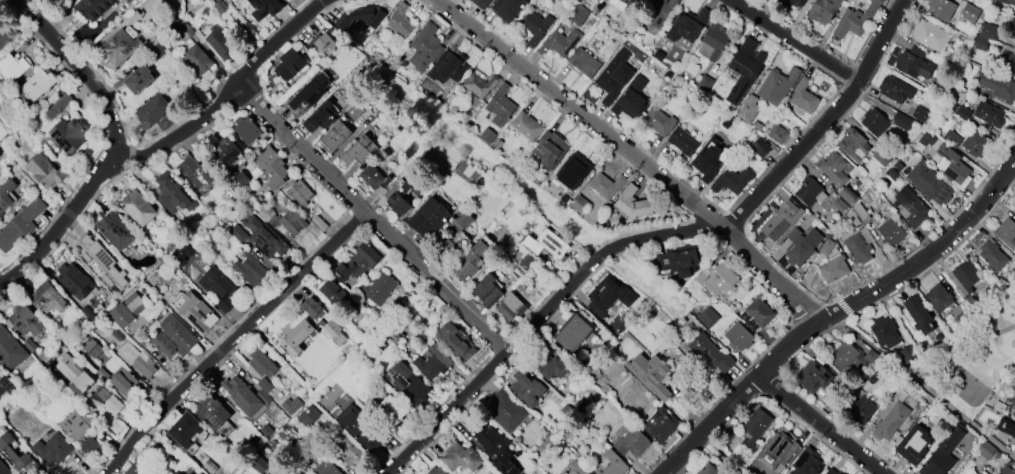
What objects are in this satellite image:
building: (992, 0)
building: (629, 1)
building: (1008, 1)
road: (4, 3)
building: (480, 3)
building: (784, 4)
building: (93, 8)
building: (265, 8)
building: (507, 9)
building: (941, 9)
building: (822, 10)
building: (1014, 11)
building: (656, 12)
building: (970, 13)
building: (356, 18)
building: (856, 19)
building: (400, 21)
building: (688, 24)
building: (1012, 25)
building: (536, 26)
building: (6, 33)
building: (985, 34)
building: (930, 35)
building: (1013, 37)
building: (713, 40)
building: (218, 41)
building: (323, 42)
building: (559, 42)
road: (795, 44)
building: (119, 47)
building: (425, 47)
building: (197, 59)
building: (584, 62)
building: (1006, 62)
building: (913, 63)
building: (289, 64)
building: (13, 66)
building: (447, 67)
building: (745, 69)
road: (85, 72)
building: (614, 76)
building: (142, 80)
building: (41, 84)
building: (479, 85)
building: (777, 85)
building: (997, 86)
building: (896, 89)
building: (310, 93)
road: (227, 96)
building: (804, 96)
building: (631, 99)
building: (500, 105)
building: (58, 106)
building: (748, 109)
building: (963, 112)
building: (155, 113)
building: (990, 115)
building: (318, 117)
building: (658, 121)
building: (901, 121)
building: (873, 122)
building: (526, 125)
building: (247, 130)
building: (68, 134)
building: (777, 134)
building: (487, 135)
building: (336, 136)
building: (953, 139)
building: (682, 141)
building: (853, 144)
building: (976, 145)
building: (760, 148)
building: (549, 149)
building: (228, 150)
building: (359, 151)
road: (638, 155)
building: (880, 157)
building: (265, 158)
building: (710, 158)
building: (950, 164)
building: (832, 168)
building: (45, 171)
building: (573, 171)
building: (197, 172)
building: (275, 174)
building: (373, 177)
building: (732, 179)
building: (239, 181)
building: (928, 184)
building: (606, 185)
building: (809, 192)
building: (299, 193)
building: (172, 195)
building: (6, 196)
building: (847, 196)
building: (396, 200)
building: (633, 203)
building: (838, 205)
building: (909, 207)
building: (138, 208)
building: (1014, 209)
building: (1014, 211)
building: (429, 218)
building: (780, 219)
building: (282, 220)
road: (374, 221)
road: (58, 224)
building: (20, 225)
building: (116, 231)
building: (890, 232)
building: (1006, 232)
building: (857, 235)
building: (264, 238)
road: (662, 238)
building: (547, 244)
building: (800, 246)
building: (96, 254)
building: (992, 256)
building: (679, 259)
building: (472, 260)
building: (357, 262)
building: (249, 268)
building: (832, 268)
building: (965, 275)
building: (716, 279)
building: (73, 280)
building: (218, 287)
building: (378, 288)
building: (487, 291)
building: (333, 293)
building: (608, 296)
building: (938, 298)
building: (47, 299)
building: (510, 307)
building: (313, 309)
building: (127, 310)
road: (836, 312)
building: (757, 314)
building: (200, 315)
building: (918, 315)
building: (707, 317)
building: (25, 319)
building: (885, 332)
building: (334, 333)
building: (574, 333)
building: (178, 334)
building: (297, 336)
building: (739, 336)
road: (229, 338)
building: (456, 341)
park: (979, 347)
building: (93, 348)
building: (10, 350)
building: (710, 354)
building: (843, 355)
building: (136, 360)
building: (433, 363)
building: (263, 364)
building: (551, 366)
building: (74, 373)
building: (650, 374)
building: (813, 377)
building: (125, 382)
building: (410, 385)
park: (965, 387)
building: (527, 388)
road: (921, 388)
building: (245, 395)
building: (110, 401)
building: (291, 405)
building: (865, 407)
building: (393, 408)
building: (1013, 408)
building: (506, 411)
building: (212, 412)
building: (309, 416)
building: (892, 416)
road: (819, 424)
building: (661, 425)
building: (360, 427)
building: (184, 428)
building: (754, 429)
building: (1008, 429)
building: (80, 431)
building: (632, 442)
building: (912, 444)
building: (52, 449)
building: (497, 449)
building: (778, 449)
building: (986, 450)
building: (13, 451)
building: (351, 452)
building: (942, 453)
building: (462, 457)
building: (806, 462)
building: (611, 464)
building: (325, 468)
building: (576, 468)
building: (4, 469)
building: (133, 469)
building: (437, 470)
building: (708, 470)
building: (186, 471)
building: (831, 471)
building: (1007, 471)
building: (176, 472)
building: (201, 473)
building: (978, 473)

